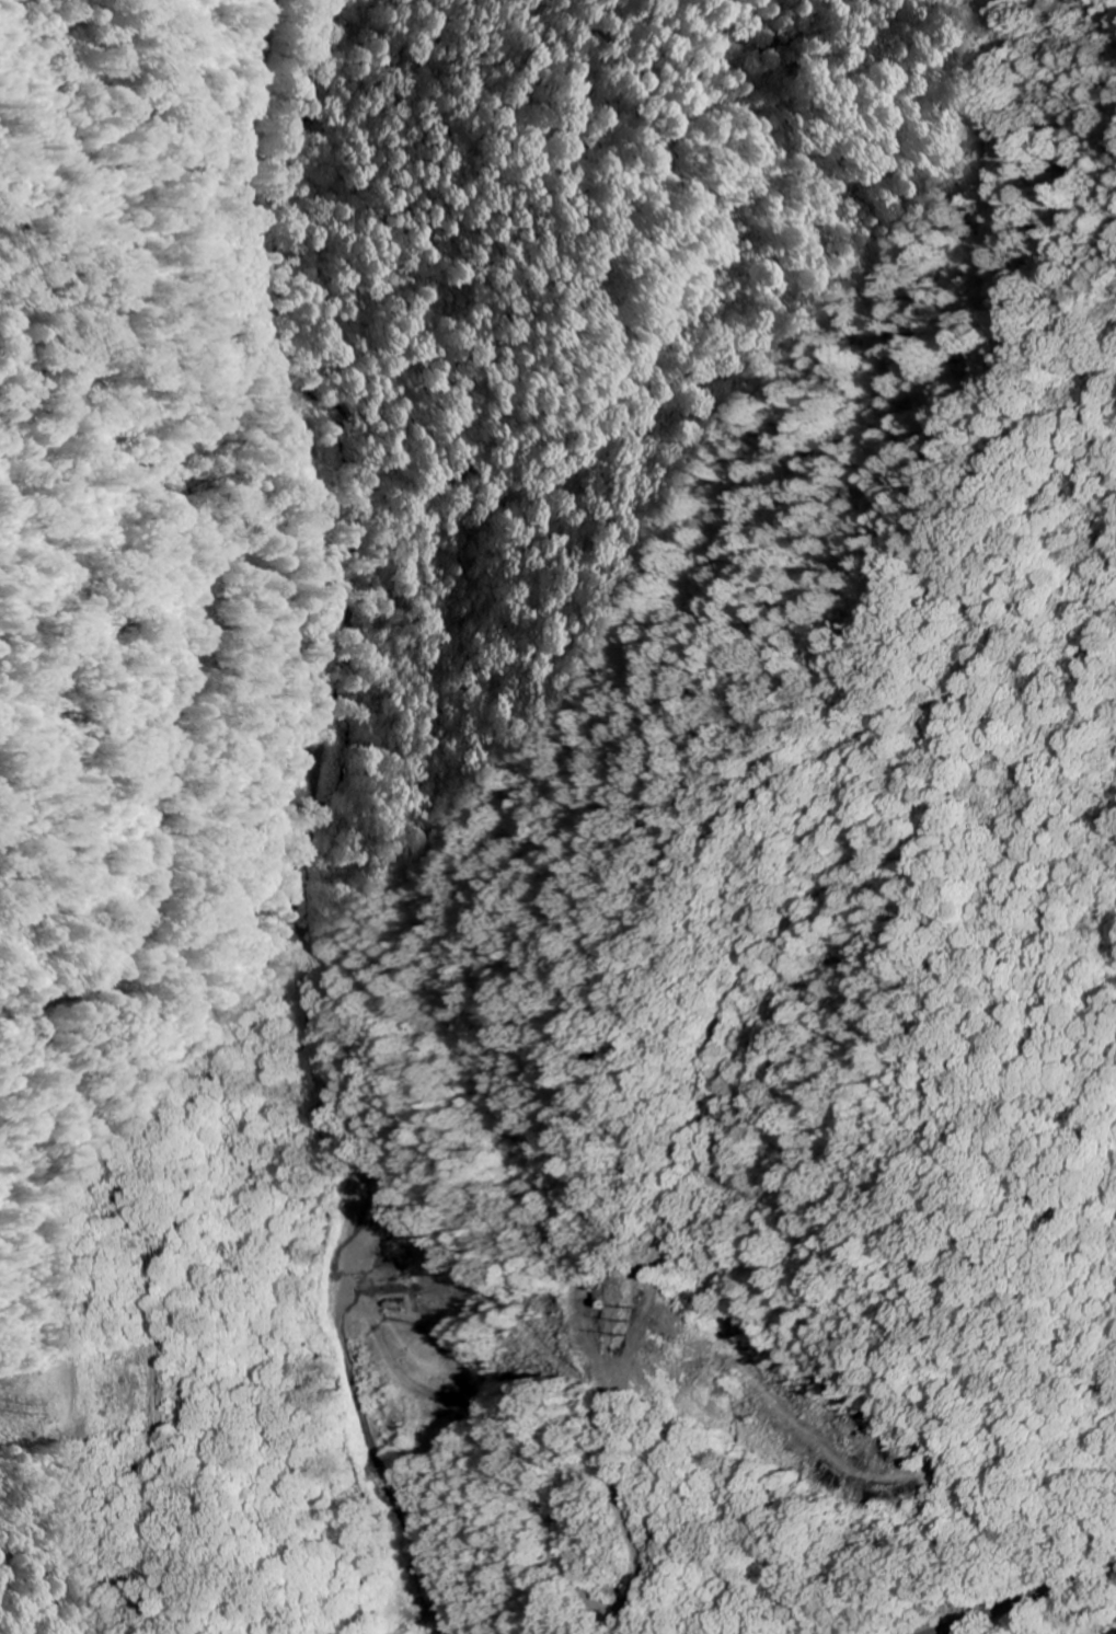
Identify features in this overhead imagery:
road: (1022, 1599)

